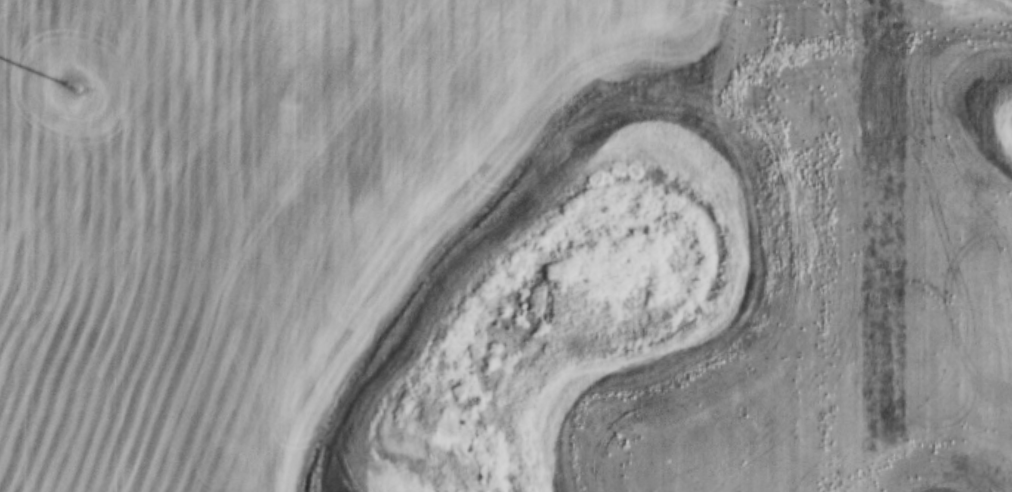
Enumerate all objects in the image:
power tower: (69, 87)

